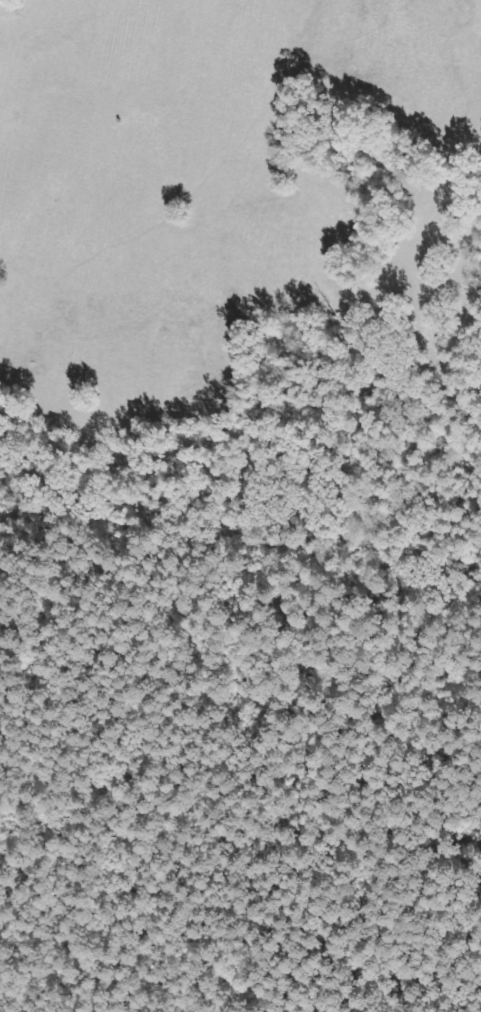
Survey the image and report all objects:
road: (231, 812)

